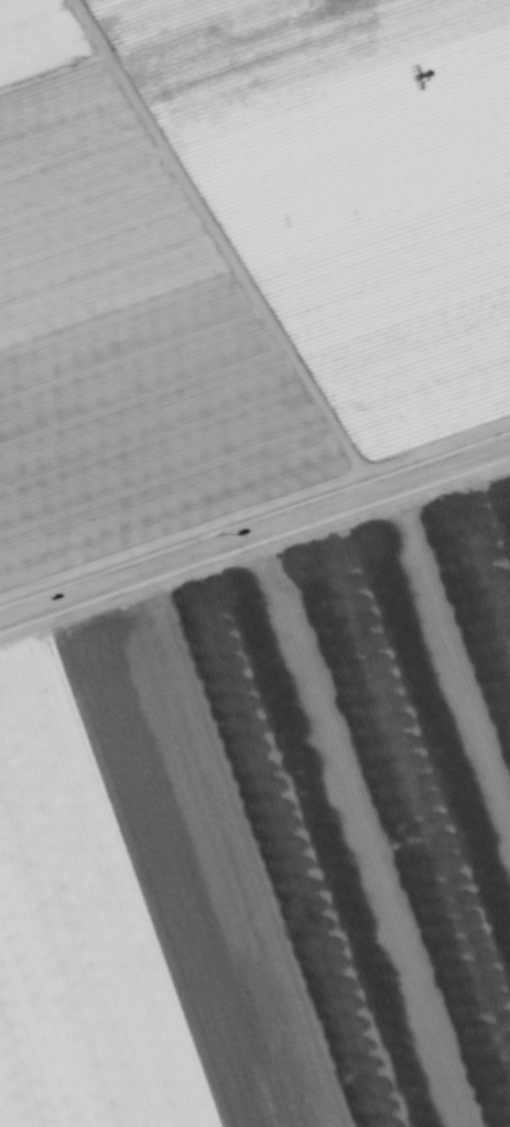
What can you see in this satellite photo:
road: (254, 533)
crop: (254, 563)

